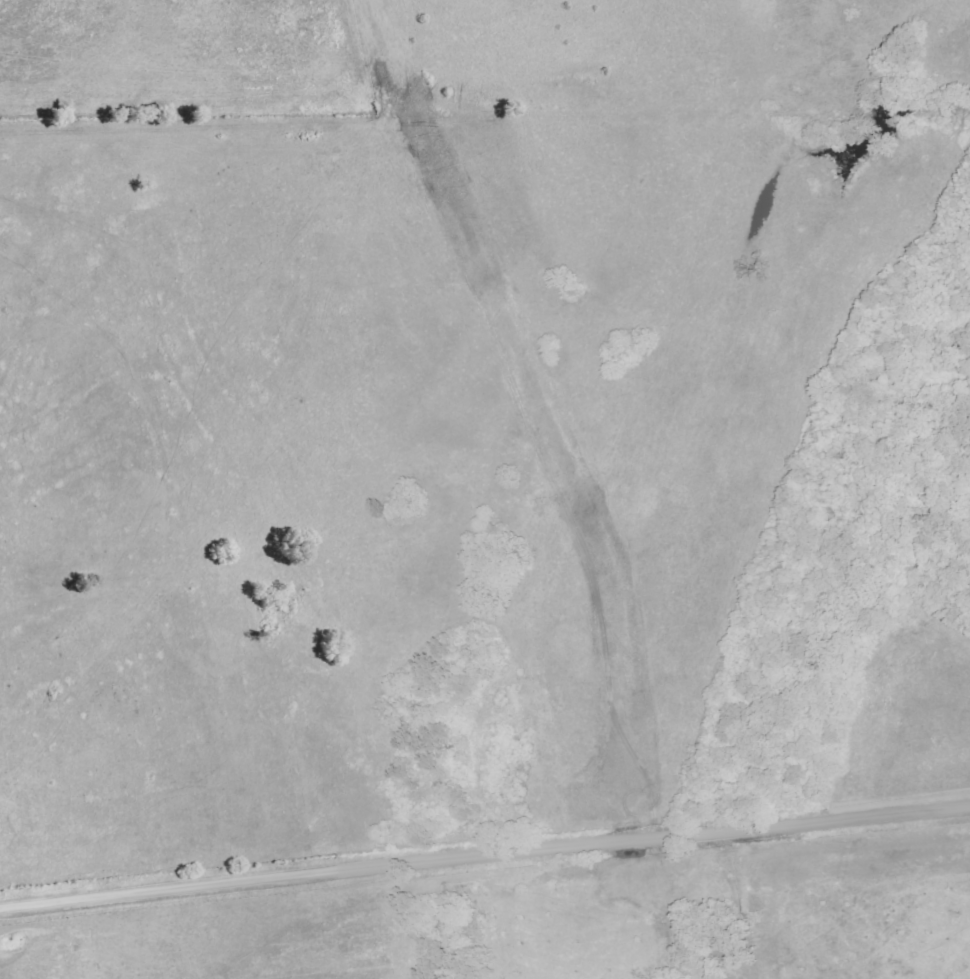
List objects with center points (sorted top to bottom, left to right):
road: (484, 856)

